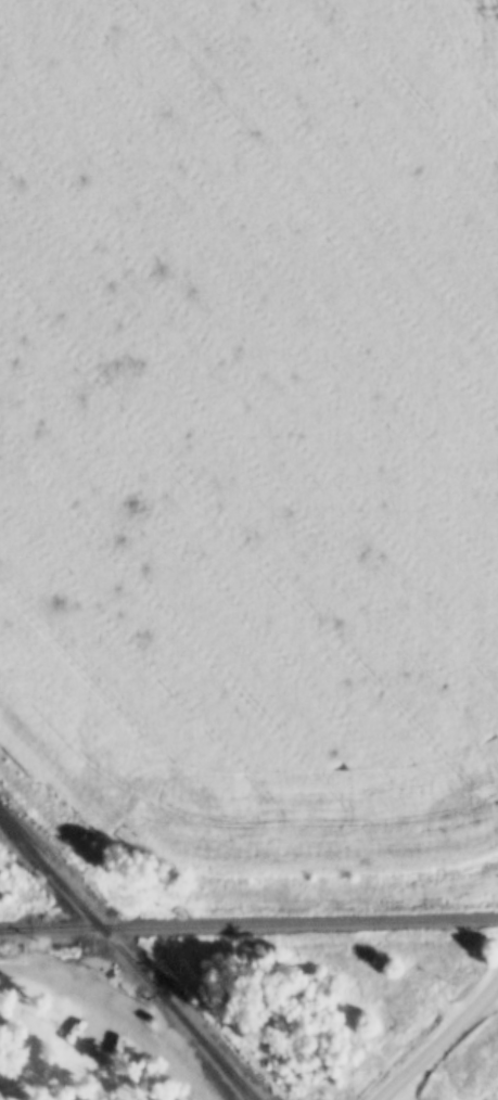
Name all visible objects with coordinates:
railway: (248, 924)
railway: (9, 931)
railway: (127, 958)
road: (114, 1014)
road: (437, 1040)
railway: (203, 1048)

